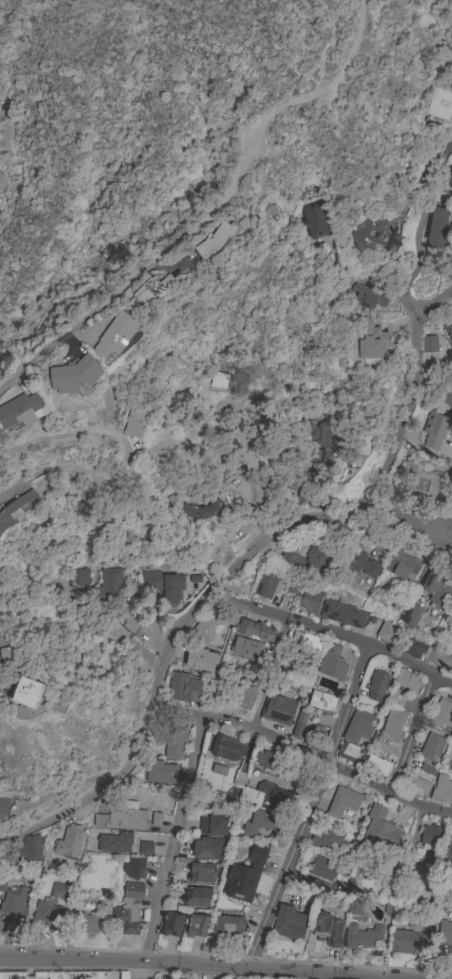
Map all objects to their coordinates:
building: (450, 43)
building: (440, 105)
building: (449, 181)
road: (201, 189)
building: (315, 221)
road: (416, 224)
building: (436, 228)
building: (373, 235)
building: (215, 240)
road: (141, 273)
road: (376, 287)
building: (142, 296)
building: (367, 297)
road: (433, 301)
building: (449, 331)
building: (115, 335)
building: (371, 341)
building: (428, 345)
building: (74, 375)
building: (218, 380)
building: (447, 396)
building: (19, 412)
building: (362, 419)
building: (133, 424)
building: (436, 429)
building: (242, 442)
building: (362, 445)
road: (129, 458)
building: (312, 465)
building: (422, 485)
building: (18, 509)
building: (199, 510)
road: (410, 517)
building: (308, 557)
building: (358, 560)
building: (401, 566)
building: (81, 577)
road: (224, 579)
building: (110, 583)
building: (164, 584)
building: (268, 584)
building: (437, 589)
building: (305, 598)
building: (342, 614)
building: (411, 615)
building: (129, 624)
building: (203, 629)
building: (255, 630)
road: (333, 632)
building: (389, 633)
building: (306, 641)
building: (245, 648)
building: (413, 648)
building: (7, 651)
building: (436, 657)
building: (199, 660)
building: (332, 663)
building: (451, 671)
road: (272, 674)
building: (406, 680)
building: (376, 686)
building: (185, 688)
building: (26, 692)
building: (244, 694)
building: (320, 701)
building: (278, 709)
building: (441, 713)
building: (392, 725)
building: (299, 726)
building: (359, 727)
building: (451, 731)
road: (411, 732)
building: (316, 735)
building: (175, 743)
building: (431, 747)
building: (227, 748)
building: (382, 748)
building: (347, 751)
road: (306, 753)
building: (263, 760)
building: (377, 765)
building: (450, 767)
building: (217, 771)
building: (426, 771)
building: (160, 772)
building: (417, 785)
building: (442, 790)
building: (267, 795)
building: (343, 802)
road: (309, 804)
building: (3, 807)
building: (127, 817)
building: (154, 820)
building: (100, 821)
building: (263, 823)
building: (213, 825)
building: (378, 829)
building: (72, 836)
building: (430, 836)
road: (174, 839)
building: (328, 841)
building: (115, 843)
building: (145, 848)
building: (30, 849)
building: (207, 849)
building: (413, 854)
building: (448, 855)
building: (134, 868)
building: (327, 868)
building: (200, 873)
building: (245, 875)
building: (2, 885)
building: (58, 892)
building: (196, 897)
building: (14, 902)
building: (356, 907)
building: (128, 910)
building: (48, 915)
building: (290, 923)
building: (84, 924)
building: (172, 925)
building: (196, 926)
building: (228, 928)
building: (327, 930)
building: (445, 933)
building: (363, 937)
building: (408, 940)
road: (214, 963)
building: (12, 975)
building: (69, 975)
building: (168, 978)
building: (179, 978)

